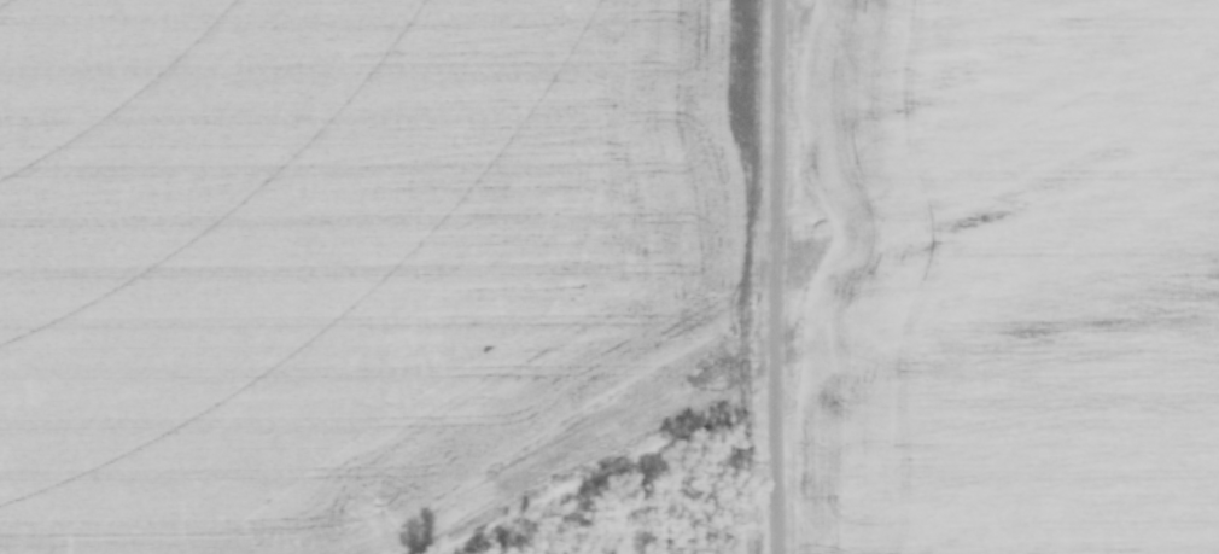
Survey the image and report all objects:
road: (798, 276)

